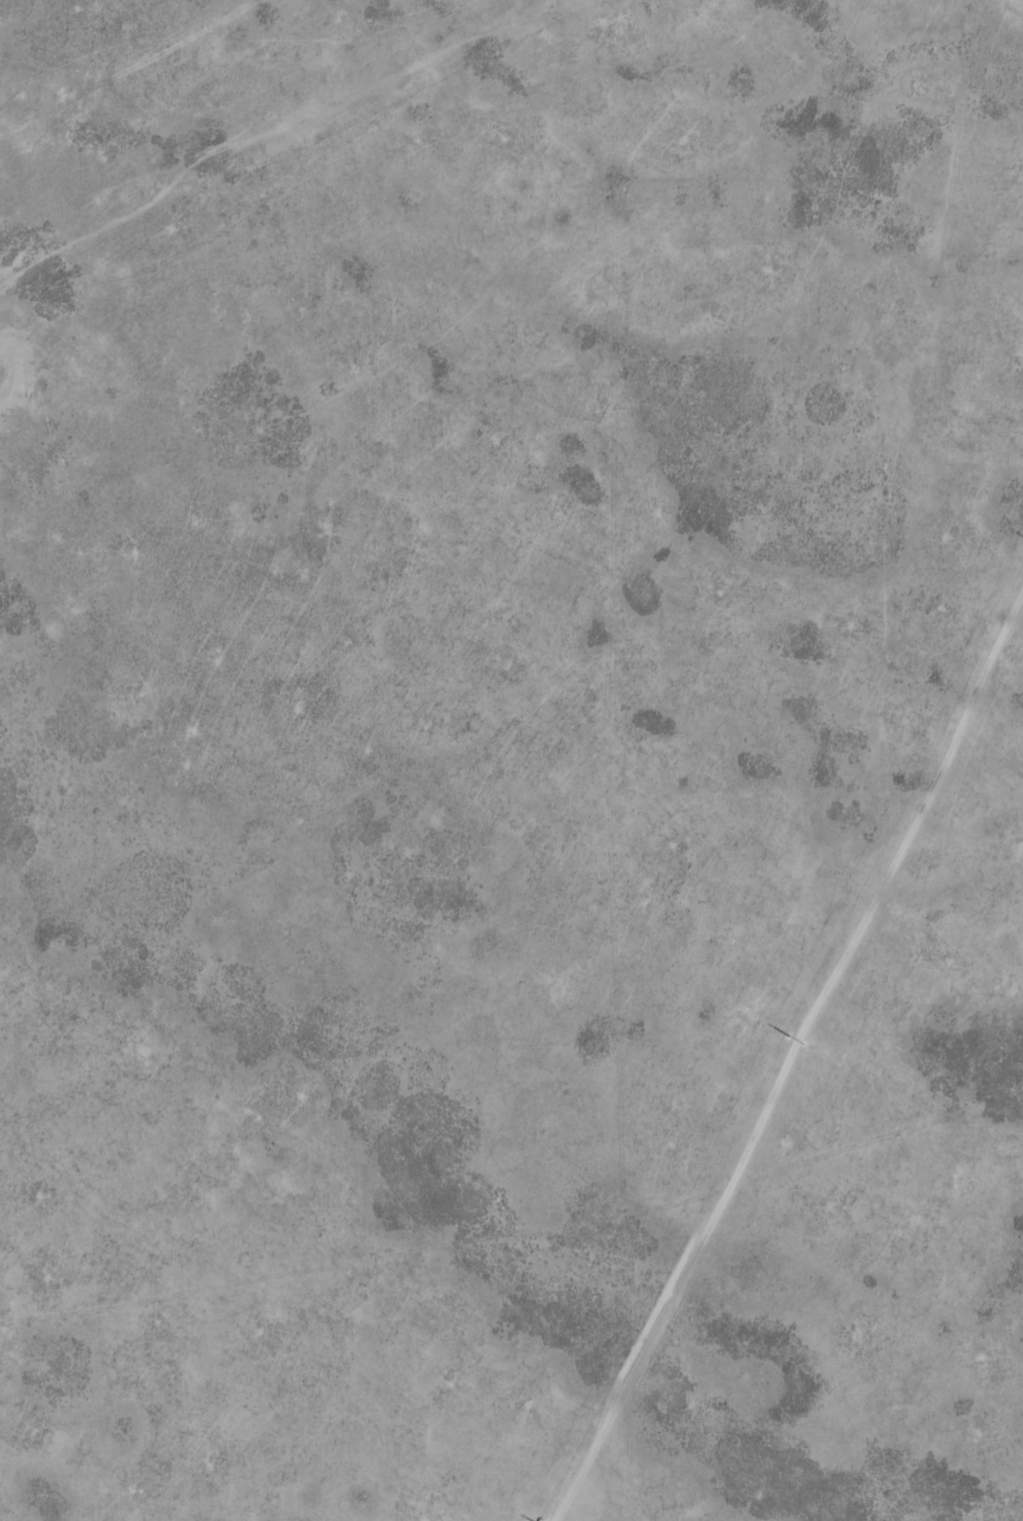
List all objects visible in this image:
power tower: (794, 1038)

